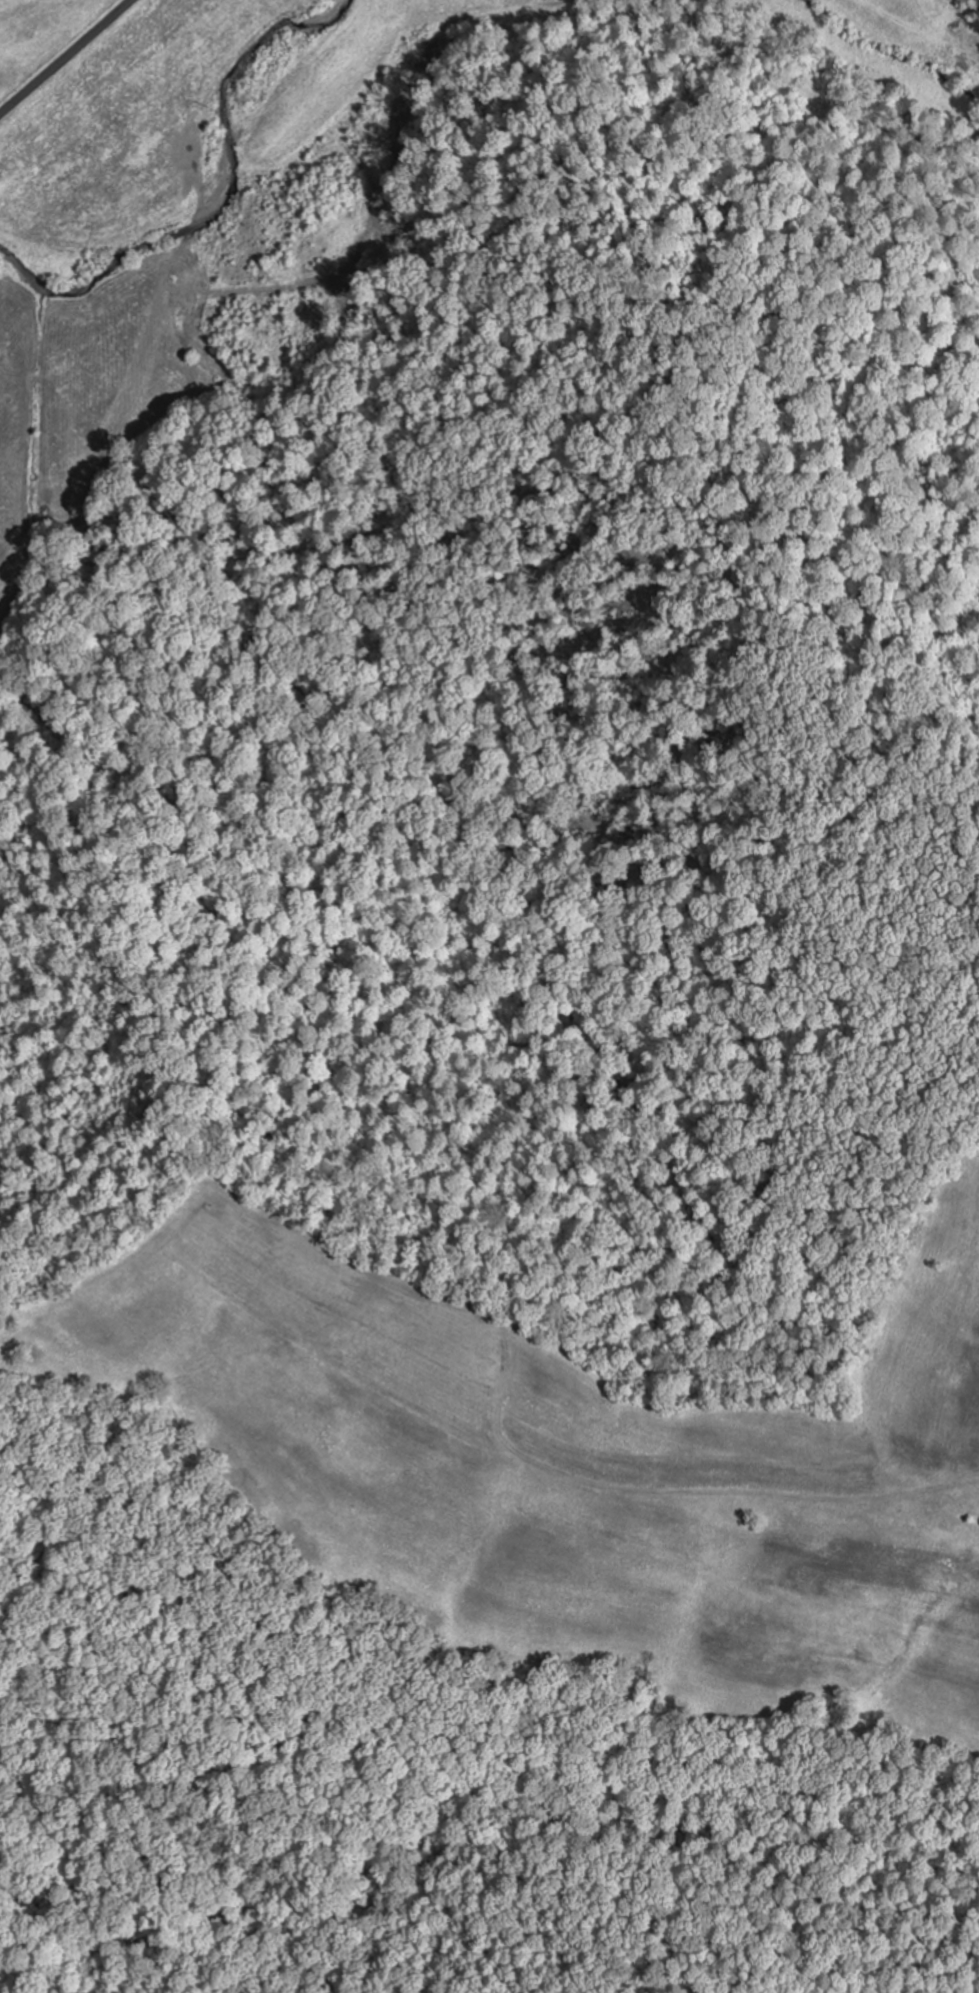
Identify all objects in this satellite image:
road: (63, 55)

